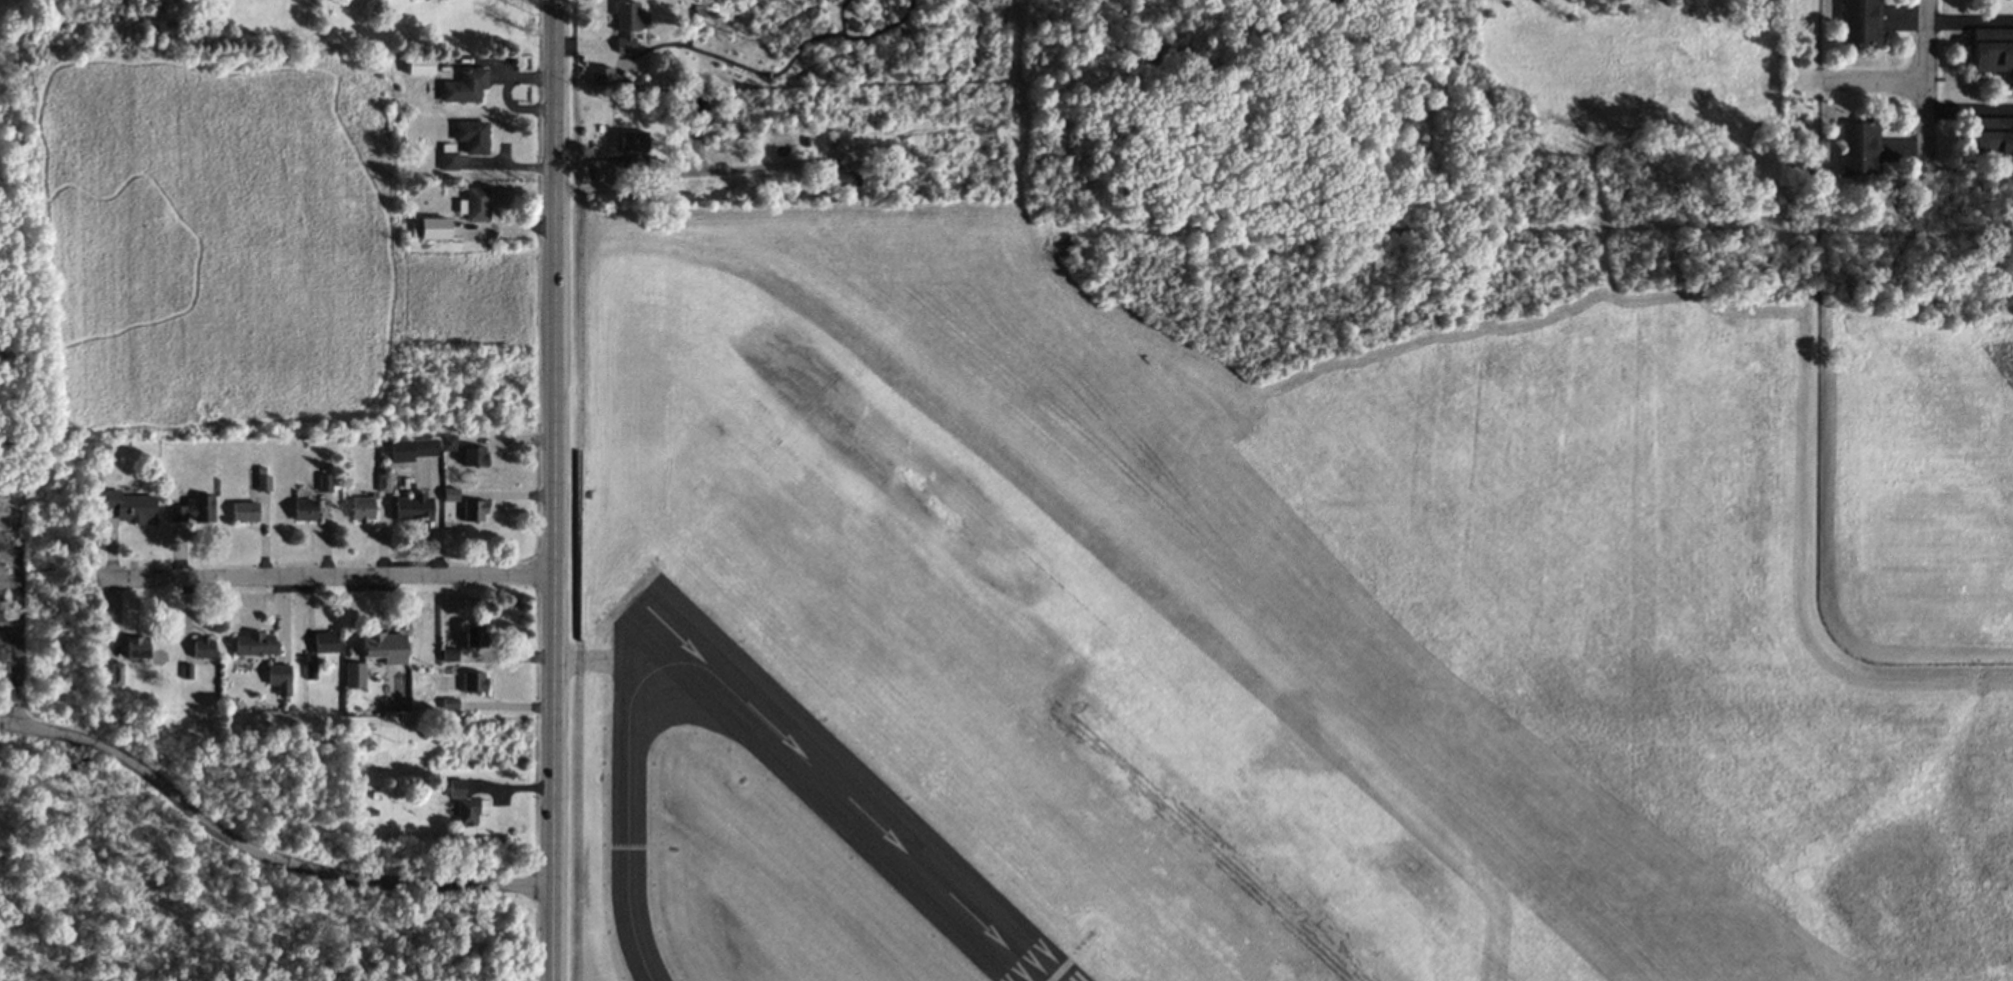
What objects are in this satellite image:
road: (1969, 15)
building: (1861, 21)
building: (629, 25)
building: (1993, 49)
building: (420, 65)
road: (500, 66)
building: (601, 76)
building: (465, 86)
road: (1872, 87)
road: (1925, 91)
road: (514, 107)
building: (473, 136)
building: (1991, 136)
building: (633, 141)
building: (1858, 148)
building: (449, 157)
road: (693, 171)
building: (845, 178)
building: (475, 205)
building: (434, 228)
road: (6, 313)
building: (447, 443)
building: (411, 449)
building: (473, 455)
building: (325, 482)
building: (383, 482)
building: (263, 483)
road: (550, 490)
building: (449, 494)
building: (129, 506)
building: (413, 507)
building: (194, 509)
building: (362, 509)
building: (305, 510)
building: (473, 510)
building: (244, 511)
airport: (1307, 533)
road: (322, 579)
road: (13, 599)
road: (6, 630)
building: (474, 636)
building: (325, 642)
building: (254, 644)
building: (136, 647)
building: (385, 647)
building: (203, 648)
building: (449, 654)
building: (310, 671)
building: (116, 674)
building: (355, 675)
road: (13, 677)
building: (279, 678)
building: (474, 681)
building: (449, 703)
building: (456, 788)
airport runway: (837, 792)
airport taxiway: (631, 808)
building: (469, 810)
road: (258, 852)
road: (49, 901)

